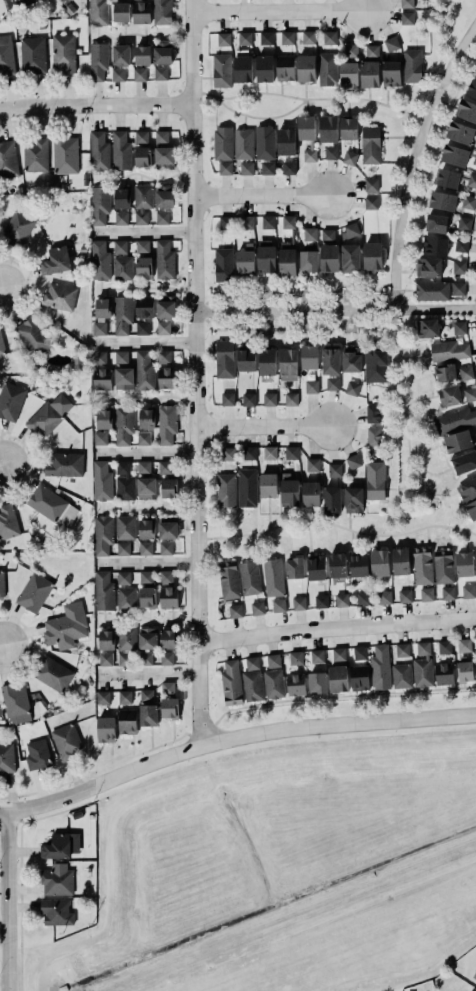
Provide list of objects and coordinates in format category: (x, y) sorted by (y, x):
building: (13, 3)
building: (406, 4)
building: (120, 10)
road: (278, 11)
building: (97, 12)
building: (141, 12)
building: (162, 12)
building: (406, 18)
road: (143, 36)
building: (222, 37)
building: (243, 37)
building: (308, 37)
building: (329, 37)
building: (266, 38)
building: (287, 38)
building: (391, 44)
building: (350, 51)
building: (371, 51)
building: (63, 53)
building: (119, 53)
building: (141, 53)
building: (163, 53)
building: (6, 55)
building: (32, 55)
building: (98, 61)
building: (241, 64)
building: (263, 66)
building: (283, 66)
building: (305, 66)
building: (412, 66)
building: (220, 69)
building: (327, 69)
building: (389, 71)
building: (116, 73)
building: (138, 73)
building: (160, 73)
building: (348, 74)
building: (370, 74)
building: (471, 86)
road: (310, 99)
road: (96, 104)
building: (466, 110)
road: (262, 119)
building: (326, 126)
building: (306, 127)
building: (348, 128)
building: (460, 133)
building: (141, 137)
building: (161, 137)
building: (286, 141)
building: (264, 142)
building: (222, 143)
building: (243, 144)
building: (370, 145)
building: (120, 149)
building: (99, 151)
building: (329, 151)
building: (456, 153)
building: (35, 155)
building: (66, 155)
building: (309, 155)
building: (142, 157)
building: (164, 157)
building: (349, 157)
road: (413, 158)
building: (8, 160)
building: (224, 167)
building: (246, 168)
building: (267, 168)
building: (288, 168)
building: (446, 175)
road: (145, 177)
building: (472, 181)
building: (371, 185)
building: (162, 194)
road: (260, 196)
building: (121, 198)
building: (141, 201)
building: (443, 201)
building: (468, 202)
building: (98, 203)
building: (371, 203)
building: (160, 216)
building: (120, 218)
building: (435, 221)
building: (225, 222)
building: (246, 222)
building: (268, 222)
building: (464, 223)
building: (18, 228)
building: (350, 230)
road: (140, 233)
building: (310, 234)
building: (326, 234)
building: (141, 245)
building: (461, 245)
building: (286, 246)
building: (435, 246)
building: (265, 256)
building: (328, 256)
building: (372, 256)
building: (54, 258)
building: (163, 258)
building: (350, 258)
building: (99, 259)
building: (308, 259)
building: (120, 260)
building: (243, 260)
building: (222, 263)
building: (142, 265)
building: (427, 265)
building: (459, 266)
road: (147, 289)
building: (458, 289)
building: (432, 291)
road: (326, 295)
road: (373, 295)
building: (58, 296)
road: (223, 296)
road: (284, 296)
road: (310, 300)
road: (351, 300)
road: (268, 301)
building: (144, 307)
building: (165, 307)
building: (103, 308)
road: (335, 310)
road: (264, 311)
road: (306, 311)
road: (348, 311)
building: (122, 314)
road: (387, 318)
road: (285, 326)
road: (327, 326)
building: (426, 326)
building: (163, 327)
road: (224, 327)
building: (459, 327)
building: (99, 328)
building: (141, 328)
road: (311, 330)
road: (353, 330)
road: (269, 331)
building: (33, 337)
road: (142, 342)
building: (1, 345)
building: (308, 355)
building: (121, 357)
building: (163, 357)
building: (245, 357)
building: (448, 357)
building: (99, 358)
building: (225, 359)
building: (265, 359)
building: (286, 359)
building: (350, 360)
building: (330, 361)
building: (376, 366)
building: (144, 370)
road: (194, 373)
building: (466, 373)
building: (101, 377)
building: (123, 378)
building: (166, 378)
building: (332, 384)
building: (311, 386)
building: (351, 387)
building: (470, 394)
building: (449, 395)
road: (409, 396)
building: (247, 398)
building: (268, 398)
road: (149, 399)
building: (227, 399)
building: (291, 399)
building: (10, 401)
building: (372, 413)
building: (48, 415)
building: (104, 419)
building: (146, 419)
building: (454, 419)
building: (123, 424)
building: (166, 424)
road: (261, 427)
building: (475, 433)
building: (373, 436)
building: (100, 438)
building: (143, 438)
building: (457, 439)
building: (268, 451)
building: (249, 453)
building: (291, 453)
road: (143, 454)
building: (228, 454)
building: (352, 460)
building: (464, 460)
building: (63, 464)
building: (313, 464)
building: (143, 467)
building: (164, 467)
road: (0, 468)
building: (334, 470)
building: (374, 479)
building: (101, 481)
building: (124, 482)
building: (267, 484)
building: (168, 487)
building: (146, 488)
building: (247, 488)
building: (225, 490)
building: (288, 491)
building: (309, 492)
building: (352, 498)
building: (332, 500)
building: (51, 506)
building: (471, 507)
road: (148, 508)
building: (8, 521)
road: (336, 526)
building: (125, 527)
building: (146, 529)
building: (167, 530)
building: (102, 535)
building: (145, 548)
building: (165, 548)
building: (123, 549)
building: (475, 554)
building: (378, 560)
building: (400, 561)
road: (144, 564)
building: (358, 564)
building: (464, 564)
building: (337, 565)
building: (422, 565)
building: (293, 566)
building: (443, 567)
building: (316, 568)
building: (248, 576)
building: (145, 577)
building: (166, 577)
building: (273, 577)
building: (123, 578)
building: (228, 580)
building: (1, 582)
building: (103, 591)
building: (468, 591)
building: (34, 592)
building: (447, 593)
building: (426, 594)
building: (383, 596)
building: (404, 596)
building: (147, 597)
building: (168, 597)
building: (362, 597)
building: (126, 598)
building: (341, 600)
building: (320, 601)
building: (298, 603)
building: (278, 605)
building: (256, 606)
building: (235, 611)
road: (148, 618)
building: (65, 627)
road: (335, 628)
building: (146, 637)
building: (167, 637)
building: (126, 638)
road: (1, 645)
building: (464, 645)
building: (444, 647)
building: (106, 648)
building: (423, 648)
building: (402, 650)
building: (359, 653)
building: (338, 654)
building: (294, 656)
building: (317, 656)
building: (145, 658)
building: (166, 658)
building: (124, 659)
building: (272, 659)
building: (475, 665)
building: (379, 667)
building: (465, 671)
building: (422, 672)
building: (53, 674)
building: (443, 674)
building: (401, 676)
road: (145, 677)
building: (359, 678)
building: (338, 679)
building: (252, 680)
building: (272, 682)
building: (231, 683)
building: (317, 683)
building: (294, 684)
building: (168, 688)
building: (102, 697)
building: (125, 697)
road: (329, 697)
building: (14, 701)
building: (146, 707)
building: (169, 708)
road: (367, 708)
building: (0, 714)
building: (126, 720)
building: (105, 729)
road: (233, 739)
building: (65, 740)
building: (35, 752)
building: (6, 757)
building: (55, 845)
building: (57, 880)
road: (7, 901)
building: (56, 912)
building: (474, 975)

